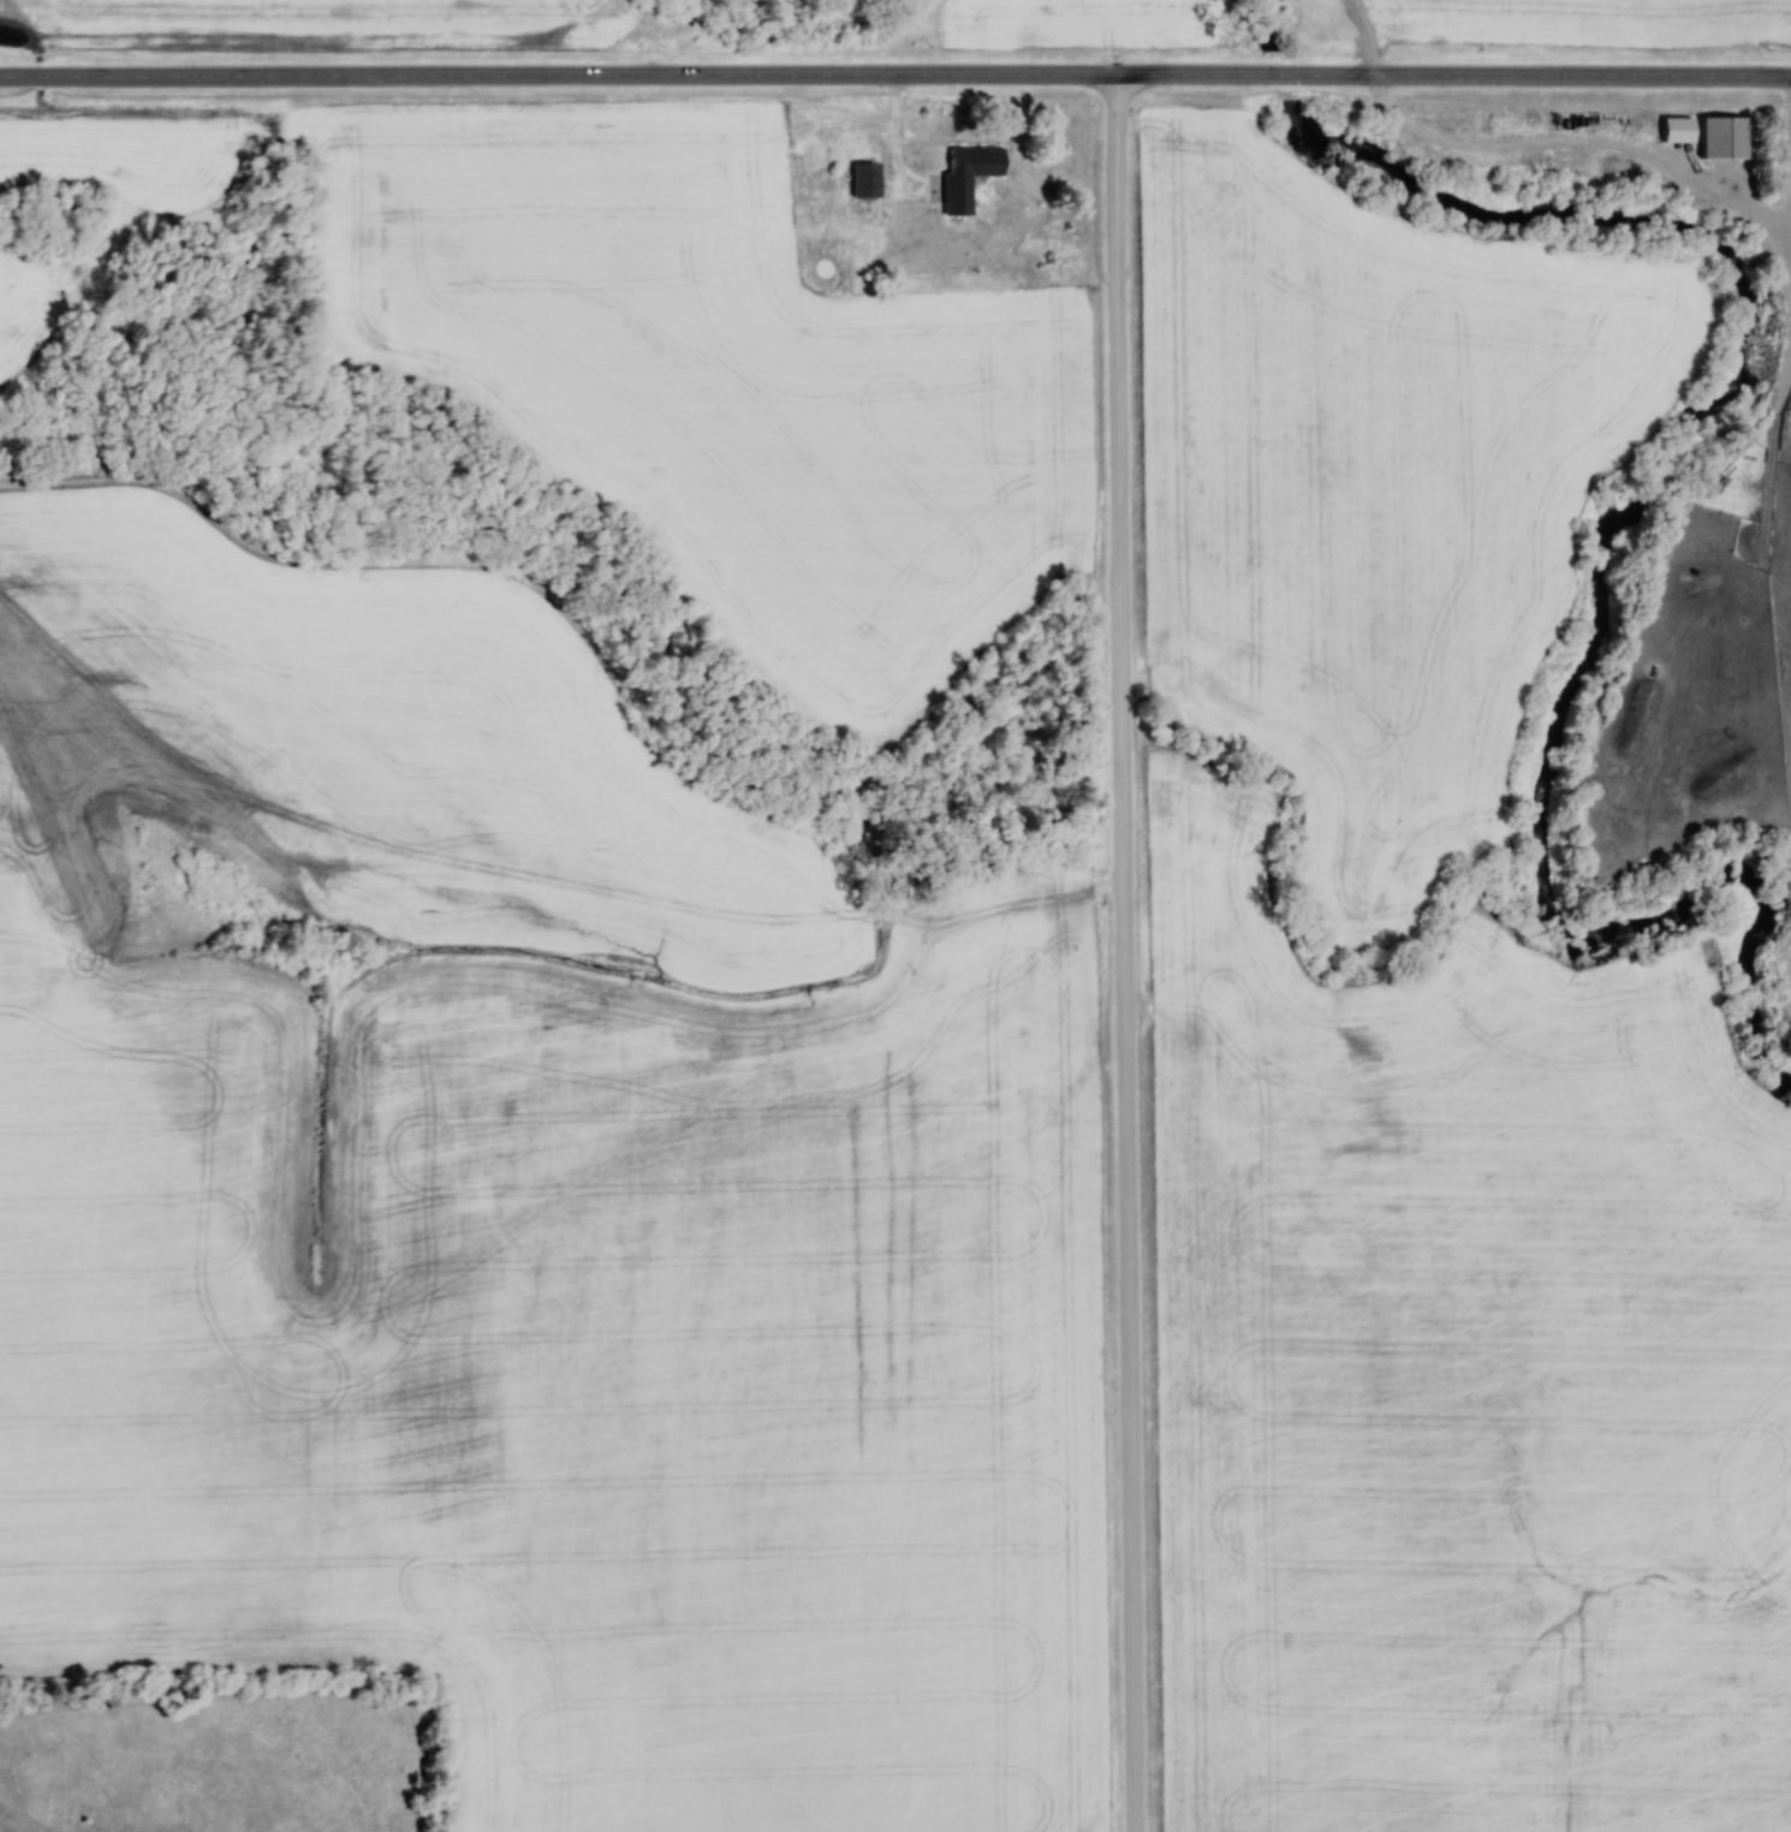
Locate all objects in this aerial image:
river: (1275, 28)
road: (895, 75)
river: (1283, 81)
building: (1678, 130)
building: (1724, 137)
road: (897, 141)
building: (968, 173)
building: (865, 179)
building: (1733, 535)
river: (1614, 545)
road: (1121, 953)

